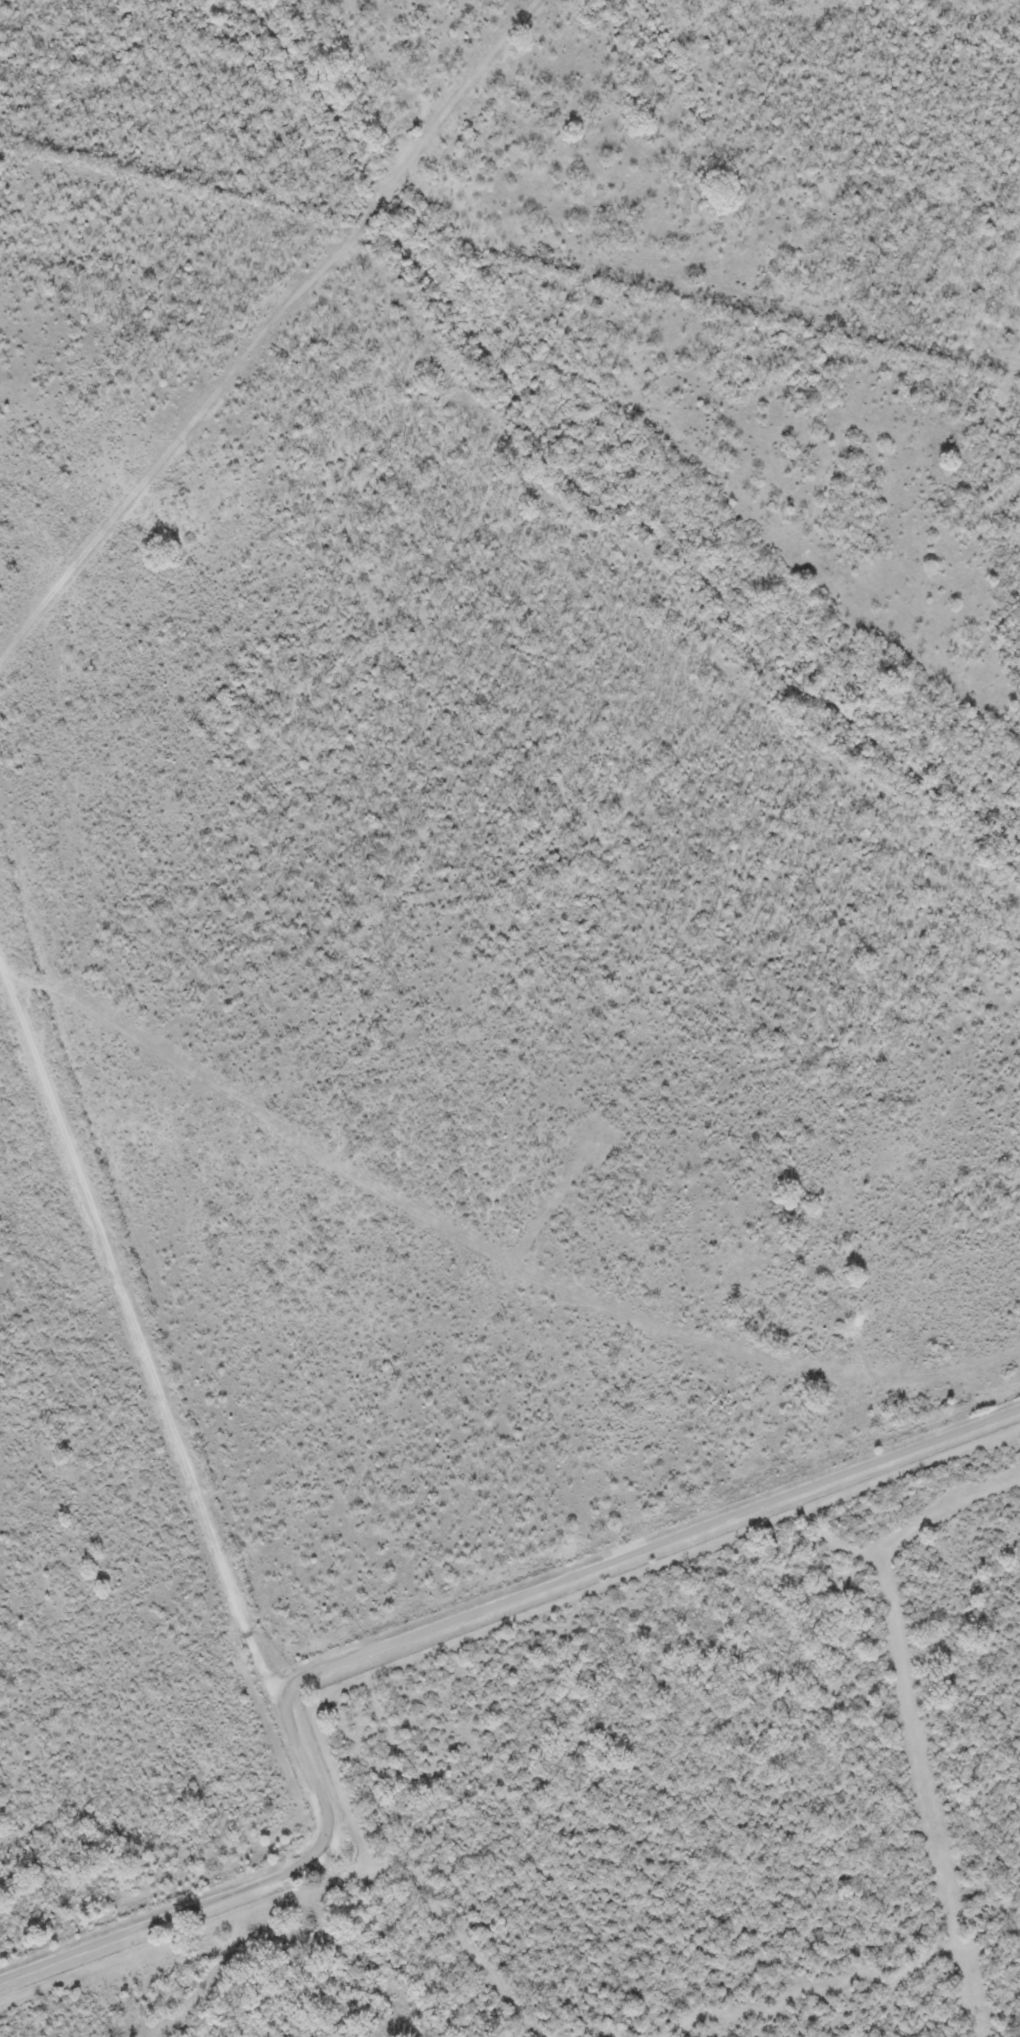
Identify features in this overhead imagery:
road: (410, 1639)

